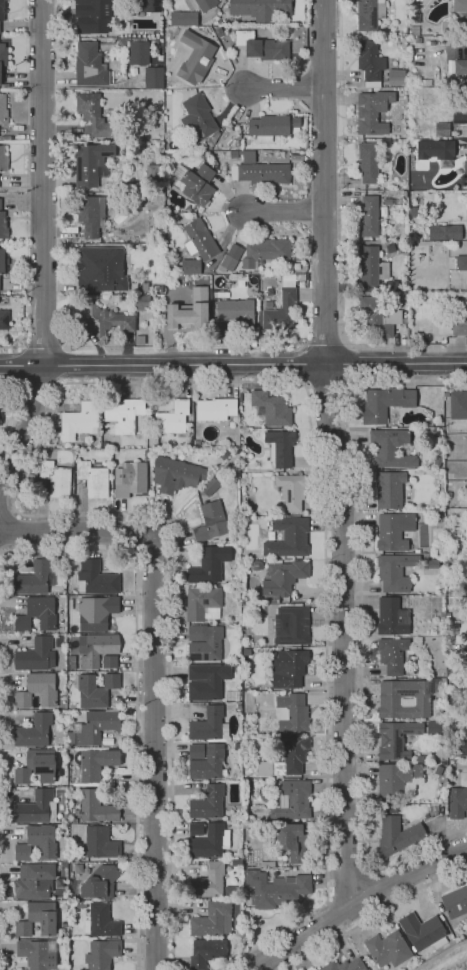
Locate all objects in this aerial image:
building: (201, 4)
building: (151, 5)
building: (459, 5)
building: (261, 8)
building: (2, 9)
building: (370, 13)
building: (88, 15)
building: (180, 19)
building: (143, 31)
building: (122, 41)
building: (263, 46)
building: (139, 51)
building: (3, 56)
building: (200, 61)
building: (370, 61)
building: (90, 65)
building: (460, 66)
building: (396, 76)
building: (154, 77)
building: (426, 81)
road: (283, 88)
building: (3, 109)
building: (373, 111)
building: (94, 115)
building: (460, 117)
building: (197, 121)
building: (268, 126)
building: (442, 128)
building: (429, 148)
building: (207, 153)
building: (3, 158)
building: (368, 162)
building: (92, 163)
building: (258, 169)
building: (464, 172)
building: (152, 173)
building: (196, 182)
building: (387, 201)
building: (383, 210)
road: (284, 211)
building: (414, 211)
building: (90, 212)
building: (368, 216)
building: (466, 221)
building: (3, 224)
building: (445, 231)
building: (199, 239)
road: (43, 247)
building: (403, 249)
building: (266, 251)
building: (231, 256)
building: (2, 261)
building: (461, 262)
building: (191, 266)
building: (371, 266)
building: (101, 269)
building: (391, 285)
building: (144, 286)
building: (159, 288)
building: (142, 302)
building: (281, 305)
building: (191, 310)
building: (236, 310)
building: (376, 317)
building: (4, 319)
building: (104, 319)
building: (459, 327)
road: (233, 363)
road: (136, 383)
road: (326, 384)
building: (385, 402)
building: (458, 404)
road: (10, 405)
building: (216, 408)
building: (271, 408)
building: (125, 414)
building: (173, 417)
building: (79, 420)
building: (280, 446)
building: (391, 447)
road: (331, 454)
building: (438, 460)
building: (176, 473)
building: (56, 478)
building: (93, 478)
building: (132, 479)
building: (389, 488)
building: (291, 490)
road: (7, 509)
building: (210, 519)
road: (13, 530)
building: (394, 530)
building: (288, 537)
road: (0, 555)
building: (433, 564)
building: (208, 565)
building: (395, 571)
building: (95, 576)
building: (284, 576)
building: (35, 578)
building: (203, 602)
building: (96, 612)
building: (37, 614)
building: (392, 616)
road: (360, 619)
building: (292, 625)
building: (195, 632)
building: (207, 644)
building: (95, 648)
building: (247, 652)
building: (392, 654)
building: (36, 655)
building: (466, 658)
building: (289, 668)
road: (153, 675)
building: (207, 680)
building: (96, 689)
building: (38, 690)
road: (135, 692)
building: (231, 695)
building: (404, 698)
building: (292, 712)
building: (209, 725)
building: (97, 726)
building: (435, 727)
building: (34, 730)
building: (396, 738)
building: (459, 746)
building: (286, 757)
building: (418, 758)
building: (206, 760)
building: (95, 764)
building: (37, 766)
building: (396, 777)
building: (292, 800)
building: (457, 801)
building: (208, 802)
building: (35, 806)
building: (97, 806)
building: (398, 836)
building: (208, 839)
building: (37, 842)
building: (101, 842)
building: (293, 842)
building: (237, 862)
building: (267, 863)
building: (35, 881)
building: (208, 881)
building: (100, 882)
building: (276, 888)
building: (455, 902)
building: (78, 904)
road: (355, 904)
road: (374, 914)
building: (37, 919)
building: (212, 919)
building: (101, 921)
building: (423, 931)
building: (388, 948)
building: (206, 952)
building: (36, 954)
building: (102, 954)
road: (0, 963)
building: (345, 965)
building: (66, 967)

